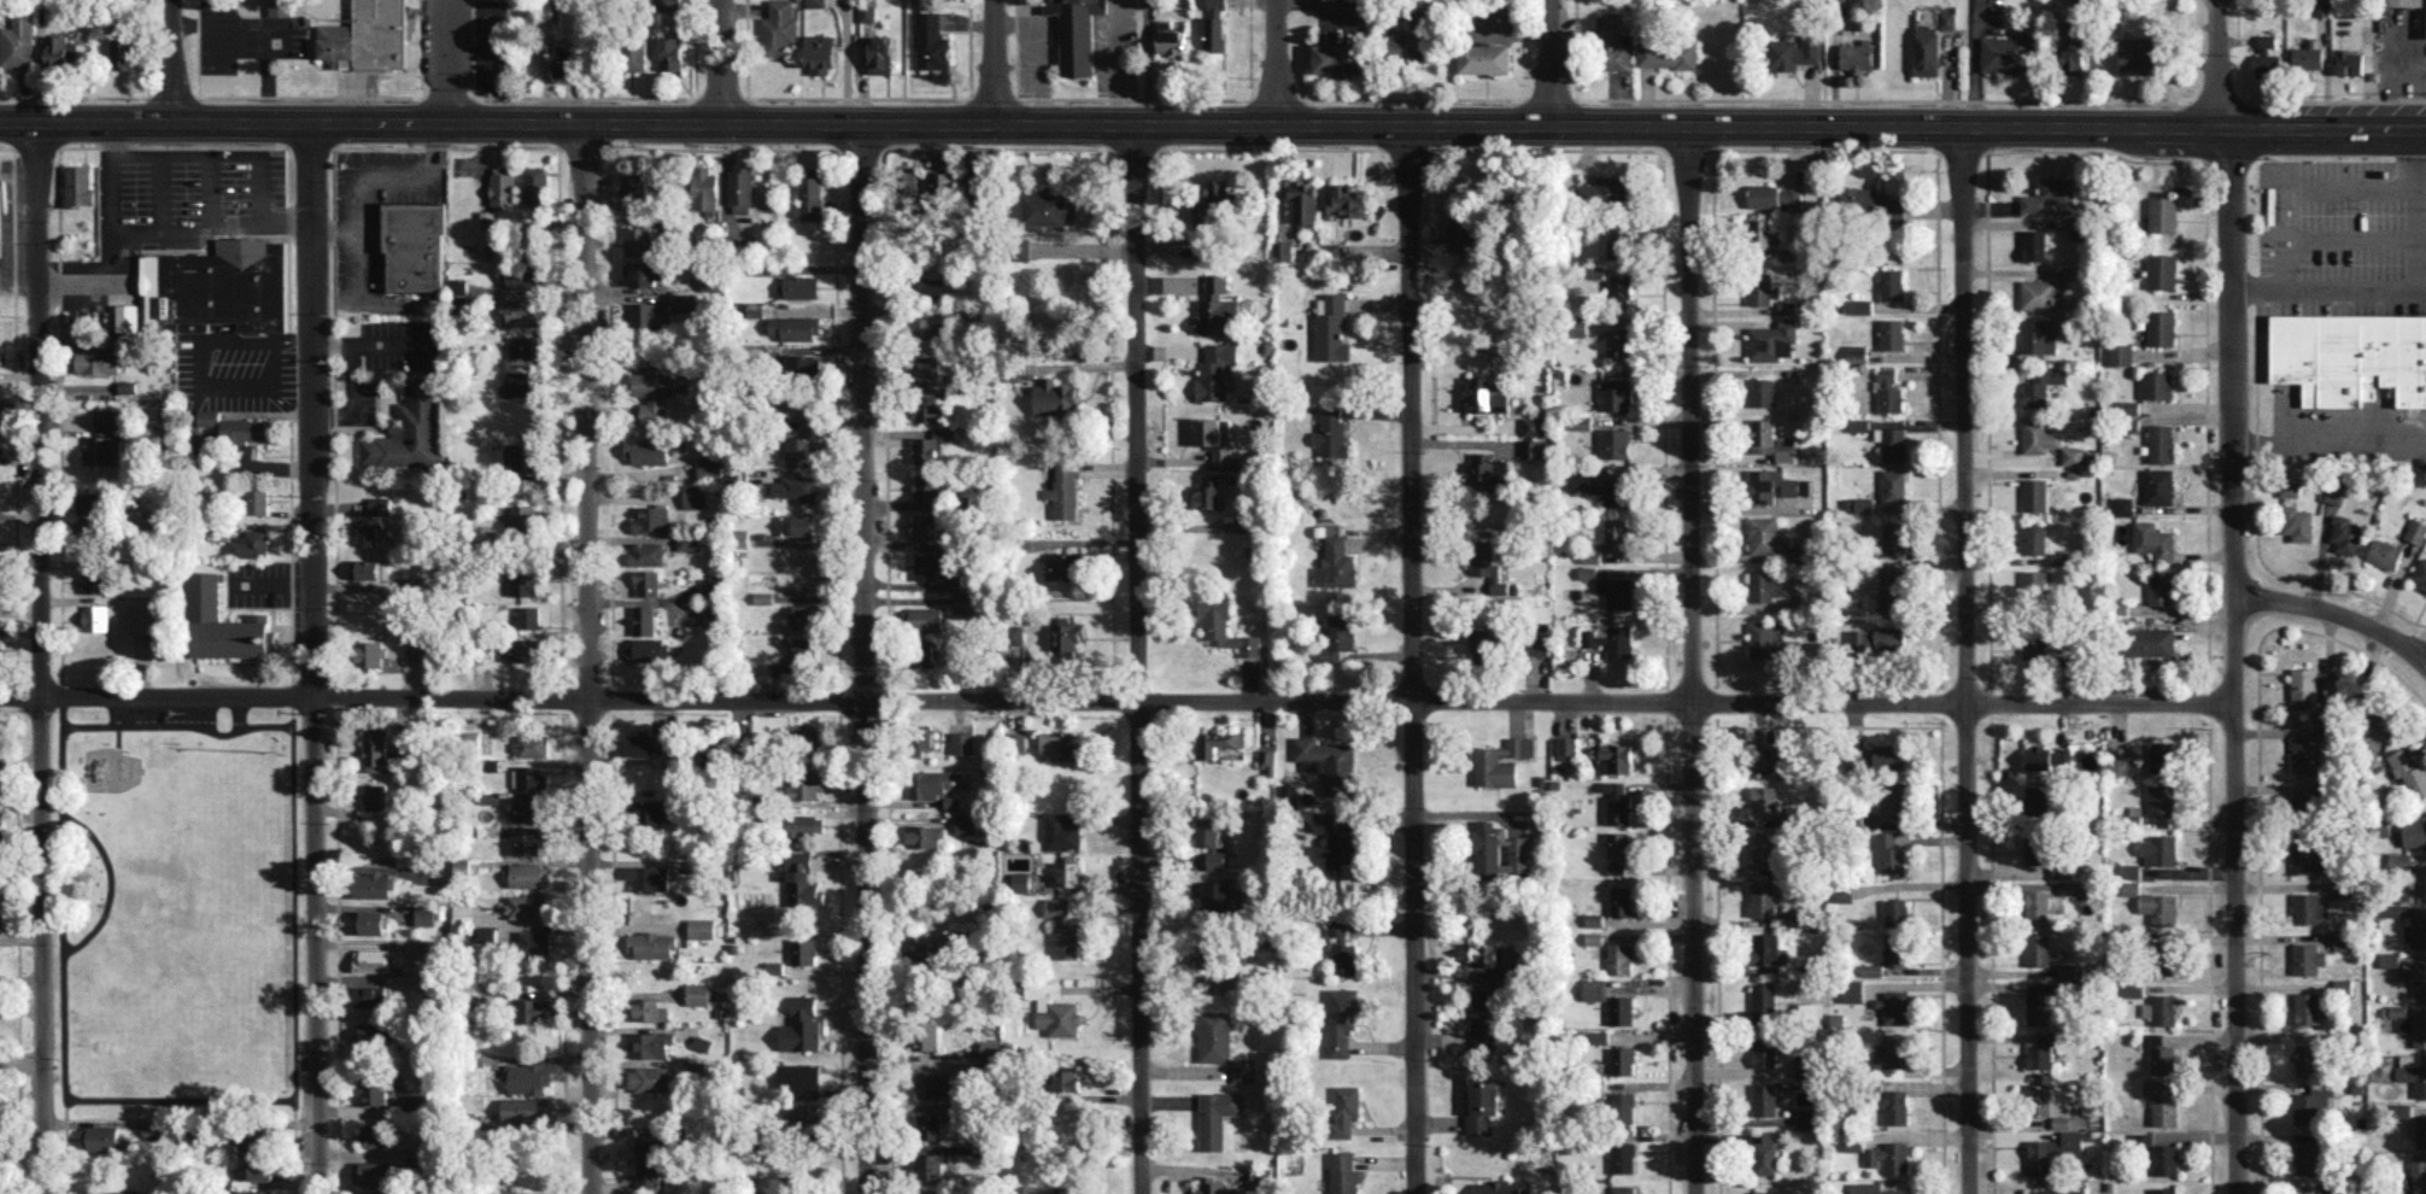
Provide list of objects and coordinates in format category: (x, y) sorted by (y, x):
building: (1148, 2)
building: (1217, 2)
building: (669, 5)
building: (1363, 5)
building: (281, 7)
building: (2322, 7)
building: (867, 11)
building: (1419, 18)
building: (778, 29)
building: (1077, 33)
building: (1215, 34)
building: (369, 35)
building: (18, 41)
building: (932, 41)
building: (1171, 41)
building: (1613, 41)
building: (1397, 46)
building: (61, 49)
building: (670, 51)
road: (1038, 52)
building: (1794, 52)
building: (123, 53)
building: (820, 53)
building: (2009, 53)
building: (881, 54)
building: (1668, 54)
building: (635, 55)
building: (1856, 55)
building: (2308, 55)
building: (1340, 58)
building: (1486, 58)
building: (2268, 58)
building: (2073, 59)
road: (171, 62)
road: (447, 62)
road: (720, 62)
road: (991, 62)
road: (1117, 62)
road: (1553, 62)
road: (1276, 63)
road: (1976, 64)
road: (2217, 64)
road: (1117, 124)
road: (2330, 127)
road: (218, 154)
building: (908, 182)
building: (942, 182)
building: (80, 185)
building: (503, 185)
building: (635, 185)
building: (537, 186)
building: (978, 186)
building: (705, 188)
building: (742, 188)
road: (215, 189)
building: (1607, 191)
road: (160, 193)
building: (2049, 193)
building: (1775, 195)
building: (810, 198)
building: (1303, 199)
building: (1348, 199)
building: (1212, 203)
road: (2233, 206)
road: (2413, 206)
building: (1049, 207)
building: (2163, 213)
building: (487, 218)
building: (1281, 230)
building: (1764, 230)
road: (159, 232)
building: (1463, 232)
building: (639, 240)
building: (1617, 240)
building: (415, 245)
building: (2034, 245)
building: (1021, 248)
building: (1331, 250)
building: (1788, 253)
building: (1595, 270)
building: (2162, 270)
building: (644, 274)
building: (526, 275)
building: (1472, 277)
building: (711, 281)
building: (457, 283)
building: (1217, 283)
building: (1892, 283)
road: (98, 285)
building: (802, 286)
building: (235, 287)
building: (931, 287)
building: (1759, 287)
road: (2330, 287)
building: (152, 289)
building: (1619, 291)
building: (2041, 293)
building: (461, 303)
building: (1863, 305)
building: (1788, 306)
building: (754, 309)
building: (525, 311)
building: (1217, 314)
building: (644, 315)
building: (1578, 324)
building: (796, 327)
building: (924, 327)
building: (2162, 327)
building: (1332, 329)
building: (1892, 333)
building: (2038, 336)
road: (258, 338)
building: (1772, 340)
building: (1618, 341)
road: (370, 343)
building: (523, 346)
building: (1857, 353)
building: (2350, 355)
parking lot: (388, 356)
building: (98, 361)
building: (804, 365)
building: (927, 367)
building: (1215, 369)
building: (523, 382)
building: (2157, 384)
road: (235, 385)
building: (2041, 386)
building: (1763, 391)
building: (1889, 391)
building: (658, 393)
building: (1616, 393)
building: (1487, 396)
road: (353, 397)
building: (1055, 398)
road: (287, 406)
building: (799, 408)
building: (926, 408)
building: (209, 417)
building: (106, 419)
building: (1578, 421)
building: (1859, 423)
building: (1536, 425)
building: (245, 429)
building: (1207, 431)
building: (411, 432)
building: (1332, 434)
building: (1763, 434)
building: (2039, 435)
building: (1616, 441)
building: (1893, 443)
building: (2161, 443)
building: (933, 445)
road: (2330, 445)
building: (1537, 447)
building: (104, 449)
building: (1786, 449)
building: (649, 450)
building: (804, 450)
building: (1221, 455)
building: (2073, 455)
building: (527, 458)
road: (250, 462)
building: (710, 467)
building: (1488, 470)
building: (1600, 484)
building: (1775, 484)
building: (1894, 485)
building: (927, 486)
building: (2160, 486)
building: (2289, 486)
building: (796, 487)
building: (1062, 487)
building: (1209, 491)
building: (2334, 491)
building: (2035, 493)
building: (696, 496)
building: (257, 501)
building: (93, 502)
building: (380, 504)
building: (1863, 504)
building: (2123, 505)
building: (651, 517)
building: (523, 519)
building: (1250, 522)
building: (2297, 522)
building: (805, 523)
building: (925, 526)
building: (367, 533)
building: (1617, 533)
building: (2345, 534)
building: (1894, 535)
building: (740, 537)
building: (1766, 537)
building: (2034, 538)
building: (2155, 540)
building: (688, 543)
building: (251, 544)
building: (646, 552)
building: (1592, 552)
building: (2385, 552)
building: (1336, 560)
building: (1487, 563)
building: (926, 566)
building: (1066, 566)
building: (368, 568)
building: (1588, 572)
building: (2420, 573)
building: (95, 579)
building: (525, 579)
building: (2034, 579)
building: (647, 581)
building: (953, 583)
building: (1765, 584)
building: (2162, 586)
building: (713, 587)
building: (1888, 587)
building: (1617, 591)
building: (763, 597)
building: (1812, 599)
building: (963, 602)
road: (2334, 613)
building: (713, 615)
building: (141, 616)
building: (528, 616)
building: (809, 616)
building: (95, 618)
building: (922, 618)
building: (644, 619)
building: (224, 624)
building: (1224, 625)
building: (1014, 633)
building: (1067, 636)
building: (1338, 636)
building: (1539, 638)
building: (1610, 638)
building: (1879, 638)
building: (1768, 640)
building: (2150, 640)
building: (1484, 643)
building: (2040, 643)
building: (645, 648)
building: (418, 649)
building: (529, 649)
building: (370, 652)
building: (801, 652)
building: (924, 652)
road: (40, 657)
road: (585, 657)
road: (315, 659)
road: (863, 659)
road: (1136, 659)
road: (1412, 659)
road: (1692, 659)
road: (1964, 661)
building: (2304, 687)
building: (2332, 687)
road: (1117, 701)
building: (2381, 719)
road: (178, 724)
building: (924, 736)
building: (808, 737)
building: (0, 739)
building: (469, 741)
road: (2235, 741)
building: (962, 742)
building: (1018, 742)
building: (1218, 742)
building: (645, 743)
building: (532, 744)
building: (1060, 745)
building: (1567, 747)
building: (709, 748)
building: (379, 751)
building: (2307, 753)
building: (2117, 754)
building: (1774, 755)
building: (1889, 755)
building: (2163, 756)
building: (1615, 757)
building: (2047, 757)
building: (1267, 760)
building: (1501, 761)
building: (1328, 762)
building: (2409, 772)
building: (1, 775)
building: (531, 777)
building: (928, 783)
building: (804, 784)
building: (1288, 791)
building: (376, 796)
building: (491, 796)
building: (761, 798)
building: (2037, 800)
building: (2162, 800)
building: (954, 801)
building: (1766, 801)
building: (1894, 801)
building: (1617, 802)
building: (2304, 803)
building: (528, 807)
building: (651, 810)
building: (1789, 818)
building: (966, 823)
building: (805, 825)
building: (1061, 832)
building: (2414, 833)
building: (924, 835)
building: (1334, 841)
building: (531, 842)
building: (1618, 844)
building: (1766, 844)
building: (1208, 845)
building: (2037, 849)
building: (2160, 849)
building: (1524, 850)
building: (1891, 851)
building: (2310, 856)
building: (2399, 861)
building: (1616, 868)
building: (1070, 870)
building: (2131, 870)
building: (529, 874)
building: (650, 877)
building: (2420, 879)
building: (803, 880)
building: (1021, 882)
building: (374, 885)
building: (2076, 888)
building: (2131, 888)
building: (1840, 894)
building: (1214, 897)
building: (1763, 899)
building: (1622, 900)
building: (526, 906)
building: (2038, 906)
building: (2160, 907)
building: (2309, 908)
building: (1897, 911)
building: (464, 913)
building: (426, 914)
building: (1, 918)
building: (1795, 918)
building: (1594, 919)
building: (371, 921)
building: (702, 927)
building: (1063, 927)
building: (2416, 931)
building: (486, 933)
building: (1594, 937)
building: (2343, 940)
building: (534, 941)
building: (654, 944)
road: (61, 946)
road: (297, 946)
building: (433, 948)
building: (1340, 949)
building: (1769, 949)
building: (1895, 949)
building: (2038, 949)
building: (803, 950)
building: (924, 952)
building: (1212, 952)
building: (1489, 954)
building: (1619, 958)
building: (2166, 958)
building: (2308, 958)
building: (2389, 959)
building: (371, 960)
building: (775, 966)
building: (1873, 968)
building: (2416, 977)
building: (1231, 981)
building: (1595, 989)
building: (1852, 990)
building: (702, 993)
building: (370, 995)
building: (1764, 999)
building: (2039, 1006)
building: (1054, 1007)
building: (1894, 1007)
building: (2162, 1008)
building: (2309, 1008)
building: (532, 1009)
building: (647, 1009)
building: (1622, 1009)
building: (1809, 1011)
building: (2401, 1017)
building: (1486, 1018)
building: (1341, 1019)
building: (1838, 1019)
building: (802, 1025)
building: (2419, 1031)
building: (370, 1032)
building: (926, 1034)
building: (1214, 1035)
building: (1595, 1036)
building: (703, 1042)
building: (651, 1043)
building: (991, 1048)
building: (1764, 1048)
building: (1893, 1052)
building: (2041, 1052)
building: (2308, 1058)
building: (2163, 1059)
building: (1623, 1060)
building: (985, 1065)
building: (1807, 1065)
building: (697, 1066)
building: (1244, 1069)
building: (2413, 1072)
building: (528, 1077)
building: (651, 1078)
building: (1067, 1078)
building: (799, 1079)
building: (934, 1083)
building: (373, 1089)
road: (176, 1099)
building: (1764, 1099)
building: (417, 1101)
building: (1483, 1104)
building: (2162, 1104)
building: (1623, 1106)
building: (1895, 1106)
building: (2050, 1106)
building: (2308, 1107)
building: (526, 1108)
building: (1344, 1110)
building: (803, 1113)
building: (1217, 1116)
building: (1806, 1117)
building: (151, 1125)
building: (930, 1125)
building: (2416, 1129)
building: (192, 1134)
building: (373, 1134)
building: (256, 1136)
building: (100, 1137)
building: (1854, 1143)
building: (651, 1146)
building: (2053, 1149)
building: (1768, 1153)
building: (1623, 1157)
building: (1889, 1157)
building: (2308, 1158)
building: (2164, 1159)
building: (415, 1160)
building: (931, 1164)
building: (260, 1167)
building: (750, 1167)
building: (373, 1172)
building: (1343, 1172)
building: (649, 1173)
building: (2419, 1173)
building: (1261, 1177)
building: (1211, 1186)
building: (1502, 1187)
building: (1874, 1188)
building: (1019, 1189)
building: (1623, 1189)
building: (1066, 1190)
building: (2058, 1190)
building: (2163, 1190)
building: (256, 1192)
building: (439, 1192)
building: (1777, 1192)
building: (118, 1193)
building: (377, 1193)
building: (537, 1193)
building: (766, 1193)
building: (2307, 1193)

